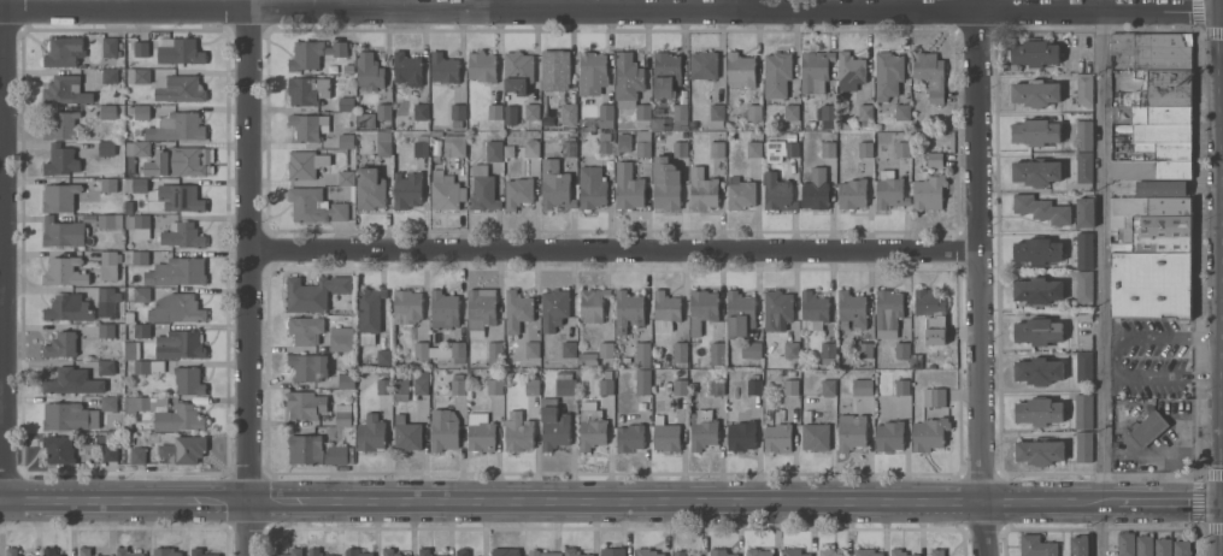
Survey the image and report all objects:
road: (493, 4)
road: (737, 4)
road: (611, 8)
building: (110, 47)
building: (141, 48)
building: (1154, 49)
building: (180, 51)
building: (63, 52)
building: (313, 53)
building: (1035, 53)
building: (704, 65)
building: (481, 66)
building: (443, 67)
building: (406, 69)
building: (554, 69)
building: (741, 70)
building: (851, 70)
building: (369, 71)
building: (517, 71)
building: (815, 71)
building: (592, 73)
building: (139, 75)
building: (666, 75)
building: (777, 75)
building: (930, 75)
building: (110, 76)
building: (628, 77)
building: (887, 77)
building: (1169, 87)
building: (180, 88)
building: (1084, 89)
building: (66, 90)
building: (307, 90)
building: (1035, 93)
building: (1131, 97)
building: (346, 103)
building: (139, 111)
building: (383, 111)
building: (531, 111)
building: (108, 112)
building: (458, 112)
building: (494, 112)
building: (606, 112)
building: (717, 112)
building: (754, 112)
building: (792, 112)
building: (902, 112)
building: (508, 114)
building: (569, 114)
building: (642, 114)
building: (681, 114)
building: (865, 114)
building: (1163, 114)
building: (421, 116)
building: (827, 116)
building: (365, 120)
building: (657, 124)
building: (63, 125)
building: (904, 125)
building: (177, 126)
building: (308, 126)
building: (139, 130)
building: (435, 132)
building: (1036, 132)
building: (1163, 132)
building: (1084, 135)
building: (790, 137)
building: (347, 141)
building: (383, 143)
building: (623, 143)
building: (643, 143)
building: (558, 144)
building: (605, 144)
building: (421, 146)
building: (454, 146)
building: (106, 148)
building: (531, 148)
building: (681, 149)
building: (717, 149)
building: (753, 149)
building: (828, 149)
building: (864, 149)
building: (902, 149)
building: (1166, 149)
building: (493, 150)
building: (508, 150)
building: (781, 150)
building: (136, 153)
building: (934, 159)
building: (61, 160)
building: (177, 161)
building: (306, 165)
building: (1083, 167)
building: (1151, 168)
building: (1036, 172)
building: (346, 178)
building: (110, 184)
building: (135, 184)
building: (666, 184)
building: (555, 187)
building: (628, 187)
building: (592, 188)
building: (1163, 188)
building: (371, 189)
building: (482, 189)
building: (702, 189)
building: (407, 190)
building: (443, 190)
building: (816, 190)
building: (889, 190)
building: (517, 193)
building: (777, 193)
building: (929, 193)
building: (740, 194)
building: (852, 194)
building: (60, 196)
building: (181, 196)
building: (314, 206)
building: (1151, 206)
building: (129, 207)
building: (1041, 208)
building: (1084, 212)
building: (111, 220)
building: (139, 224)
building: (64, 232)
building: (1156, 232)
building: (182, 235)
road: (611, 249)
building: (1083, 249)
road: (2, 250)
building: (1037, 250)
building: (137, 258)
building: (108, 264)
building: (1162, 268)
building: (65, 271)
building: (177, 271)
road: (247, 278)
road: (975, 278)
road: (1103, 278)
building: (1084, 285)
building: (1037, 290)
building: (314, 292)
building: (142, 294)
building: (107, 301)
building: (593, 304)
building: (407, 306)
building: (67, 308)
building: (177, 308)
building: (371, 309)
building: (481, 309)
building: (554, 309)
building: (702, 309)
building: (777, 309)
building: (851, 309)
building: (443, 310)
building: (517, 310)
building: (628, 310)
building: (665, 310)
building: (813, 310)
building: (931, 310)
building: (888, 313)
building: (740, 314)
building: (129, 317)
building: (106, 330)
building: (142, 330)
building: (305, 330)
building: (1037, 331)
building: (341, 338)
building: (61, 344)
building: (180, 344)
building: (495, 349)
building: (531, 349)
building: (569, 349)
building: (605, 349)
building: (902, 349)
building: (133, 350)
building: (422, 350)
building: (752, 350)
building: (792, 350)
building: (865, 350)
building: (449, 353)
building: (680, 353)
building: (717, 353)
building: (828, 353)
building: (642, 355)
building: (384, 357)
building: (588, 359)
road: (1115, 359)
building: (917, 361)
building: (513, 363)
building: (149, 366)
building: (1083, 366)
building: (106, 367)
building: (308, 367)
building: (1039, 371)
building: (792, 373)
building: (74, 380)
building: (189, 380)
building: (346, 381)
building: (643, 381)
building: (421, 383)
building: (565, 383)
building: (383, 384)
building: (606, 384)
building: (457, 385)
building: (495, 386)
building: (531, 386)
building: (680, 386)
building: (716, 386)
building: (754, 386)
building: (863, 386)
building: (902, 386)
building: (693, 388)
building: (792, 388)
building: (828, 388)
building: (400, 389)
building: (934, 397)
building: (108, 403)
building: (145, 403)
building: (306, 404)
building: (1040, 412)
building: (1083, 412)
building: (343, 414)
building: (70, 415)
building: (180, 418)
building: (619, 419)
building: (128, 426)
building: (553, 426)
building: (1148, 428)
building: (443, 430)
building: (592, 430)
building: (702, 430)
building: (480, 432)
building: (517, 432)
building: (852, 432)
building: (371, 434)
building: (406, 434)
building: (665, 434)
building: (778, 434)
building: (929, 434)
building: (816, 436)
building: (741, 437)
building: (889, 437)
building: (629, 438)
building: (130, 440)
building: (1083, 446)
building: (60, 449)
building: (183, 449)
building: (314, 451)
building: (1040, 451)
building: (110, 453)
building: (139, 455)
road: (611, 499)
building: (1125, 544)
building: (1080, 545)
building: (1143, 545)
building: (1036, 546)
building: (1163, 546)
building: (1181, 549)
building: (11, 551)
building: (84, 551)
building: (164, 551)
building: (423, 551)
building: (504, 551)
building: (49, 552)
building: (125, 552)
building: (201, 552)
building: (292, 552)
building: (314, 552)
building: (357, 552)
building: (389, 552)
building: (461, 552)
building: (542, 552)
building: (574, 552)
building: (613, 552)
building: (647, 552)
building: (719, 552)
building: (758, 552)
building: (793, 552)
building: (829, 552)
building: (868, 552)
building: (899, 552)
building: (937, 552)
building: (680, 554)
building: (328, 555)
building: (407, 555)

